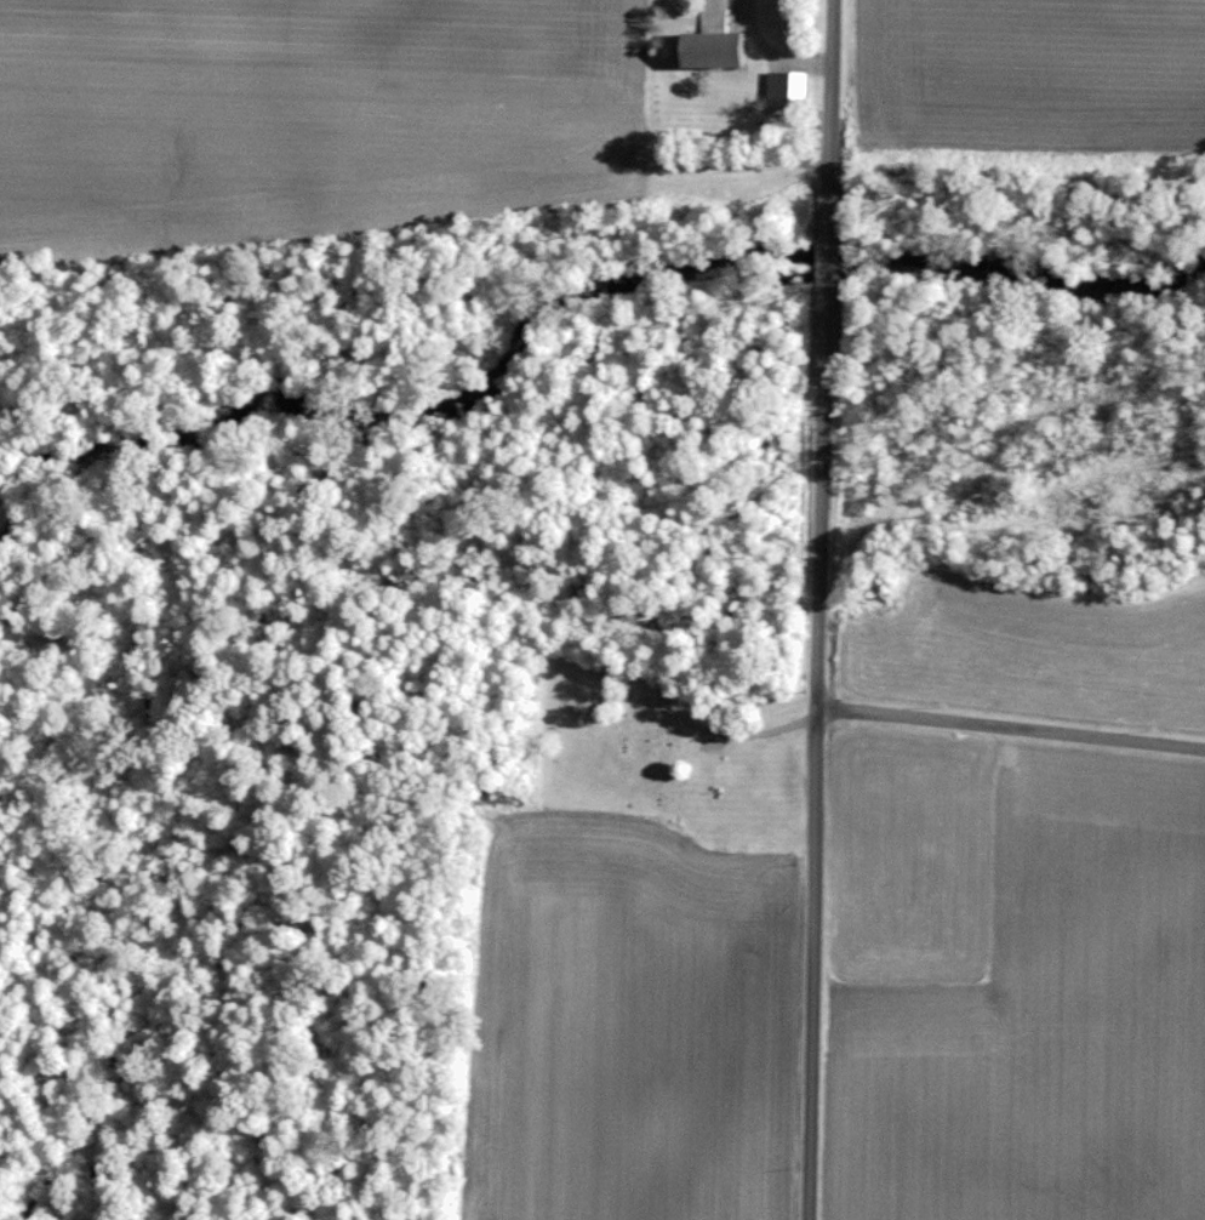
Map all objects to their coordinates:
road: (828, 104)
road: (826, 256)
river: (578, 287)
road: (1010, 730)
road: (813, 762)

